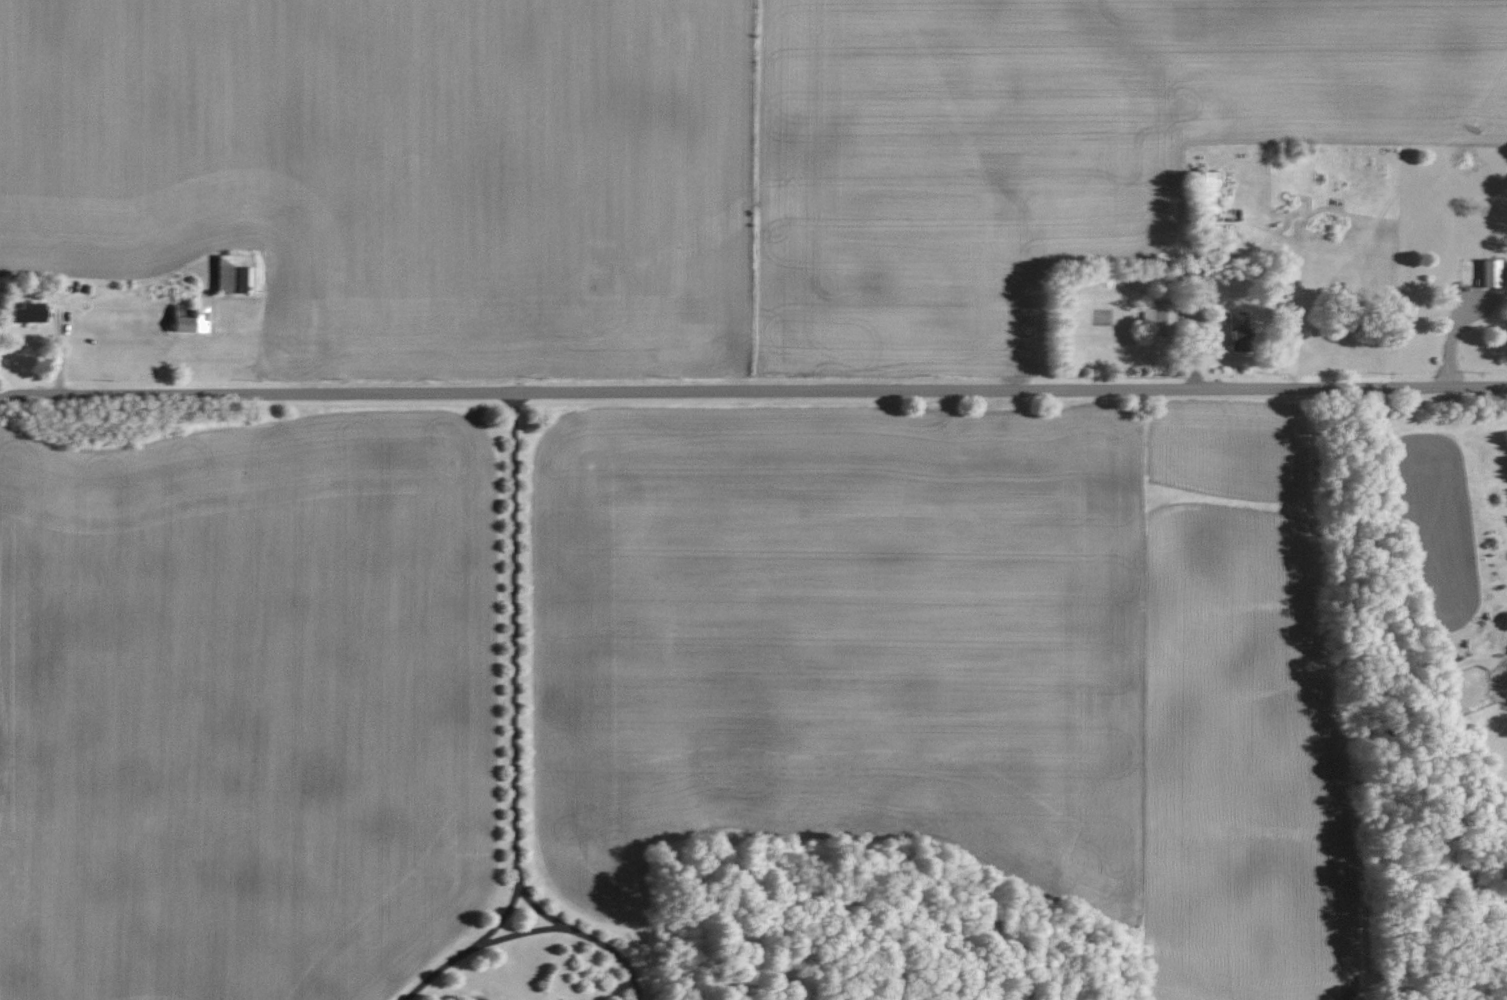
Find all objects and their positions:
building: (1204, 192)
building: (1486, 273)
building: (233, 274)
building: (23, 313)
building: (1153, 316)
building: (185, 320)
building: (1234, 330)
road: (753, 391)
road: (526, 725)
road: (507, 924)
road: (481, 950)

